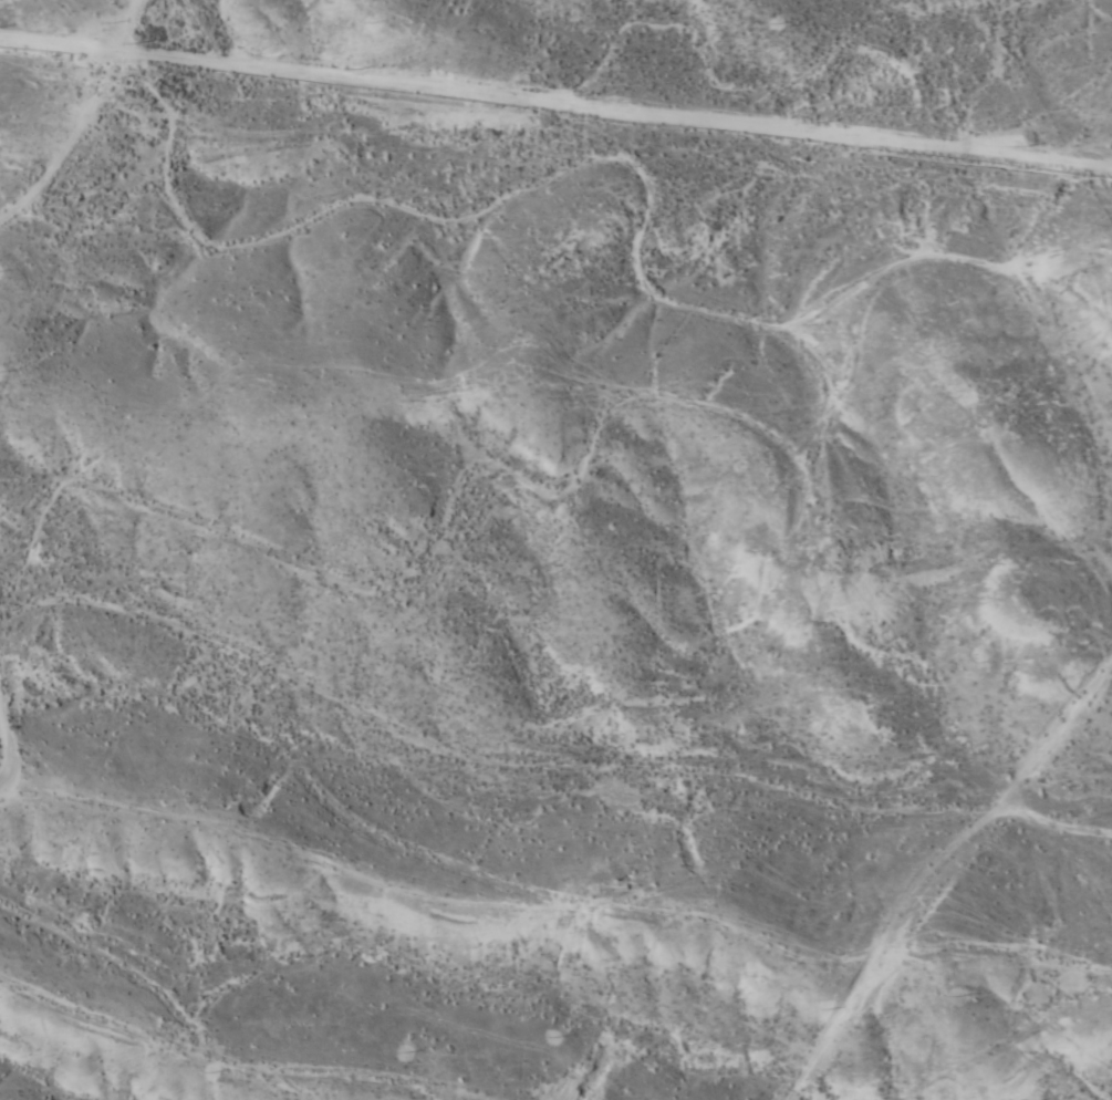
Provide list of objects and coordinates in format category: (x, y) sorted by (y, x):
road: (153, 59)
road: (441, 251)
road: (665, 454)
road: (583, 682)
road: (940, 876)
road: (352, 1038)
road: (132, 1041)

